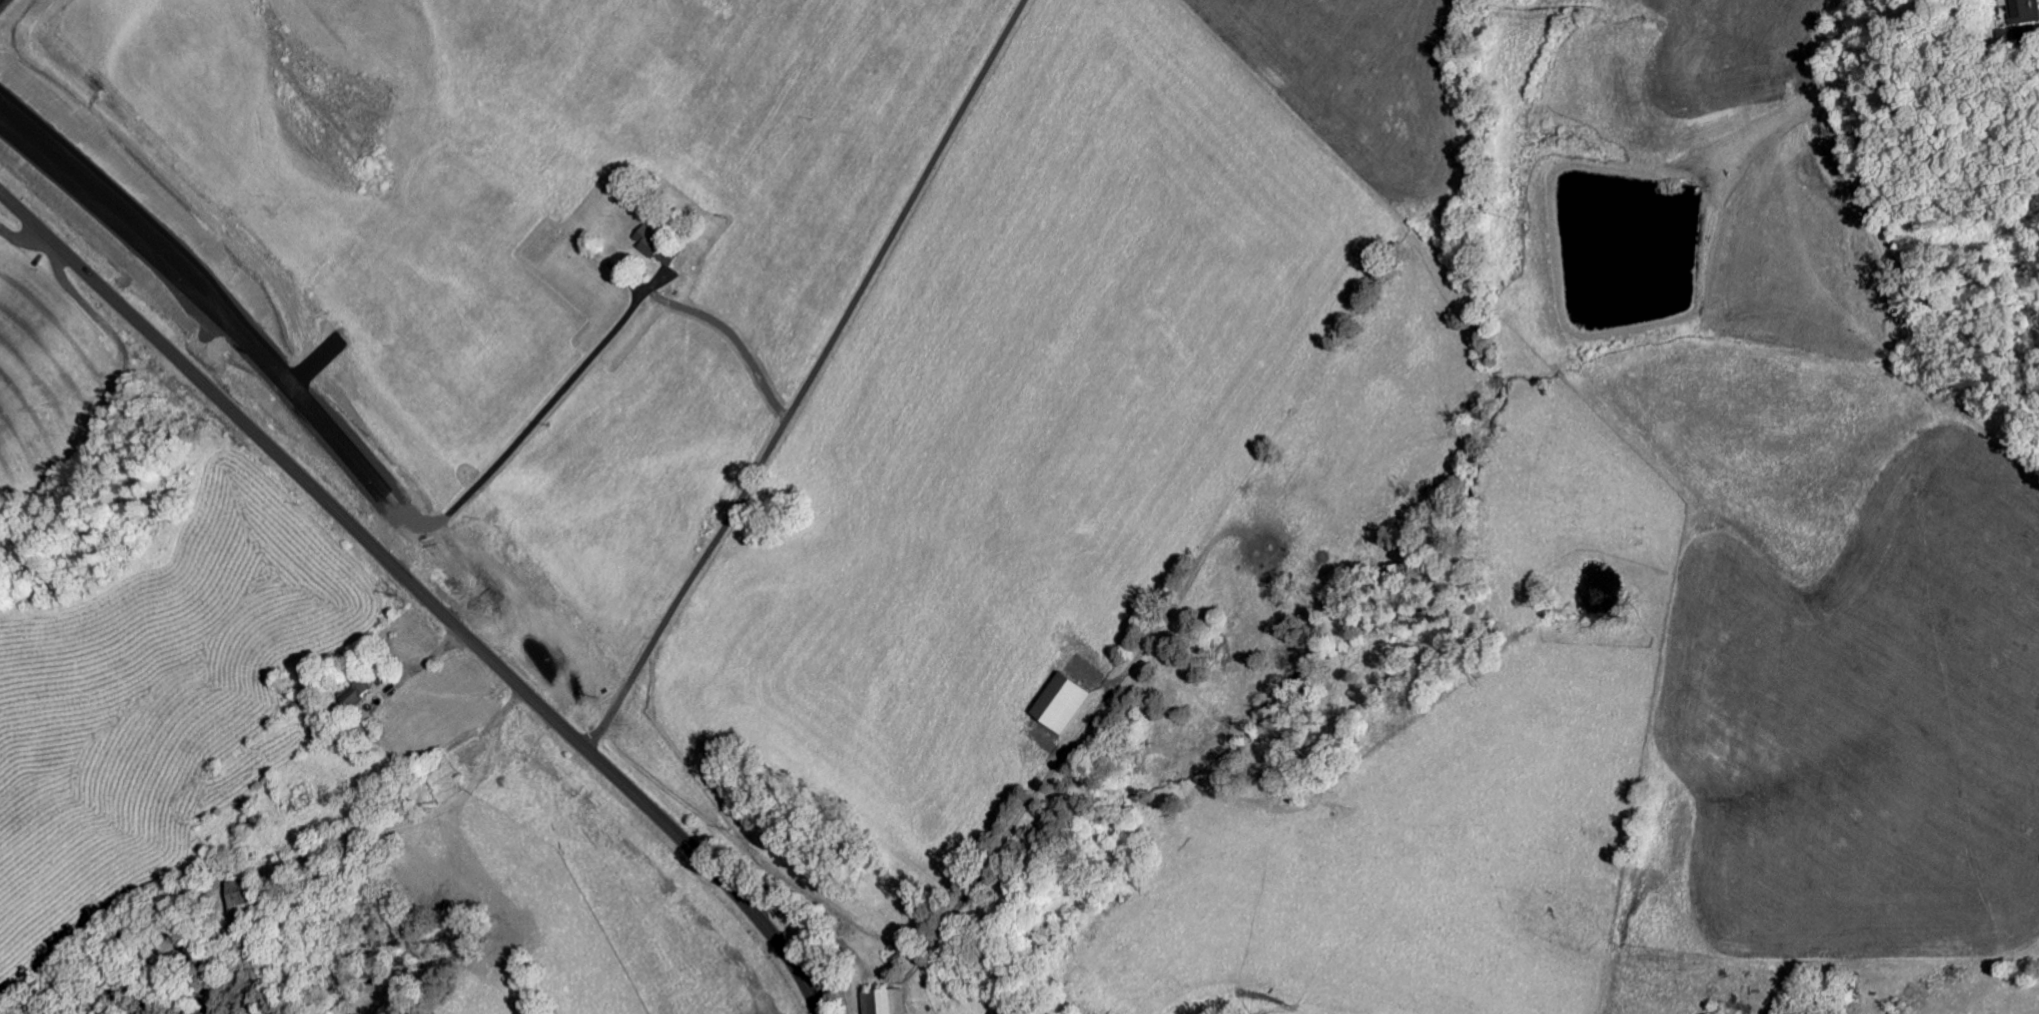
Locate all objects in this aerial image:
building: (2019, 11)
road: (806, 376)
road: (420, 595)
building: (350, 693)
building: (1055, 706)
building: (234, 895)
building: (875, 1003)

